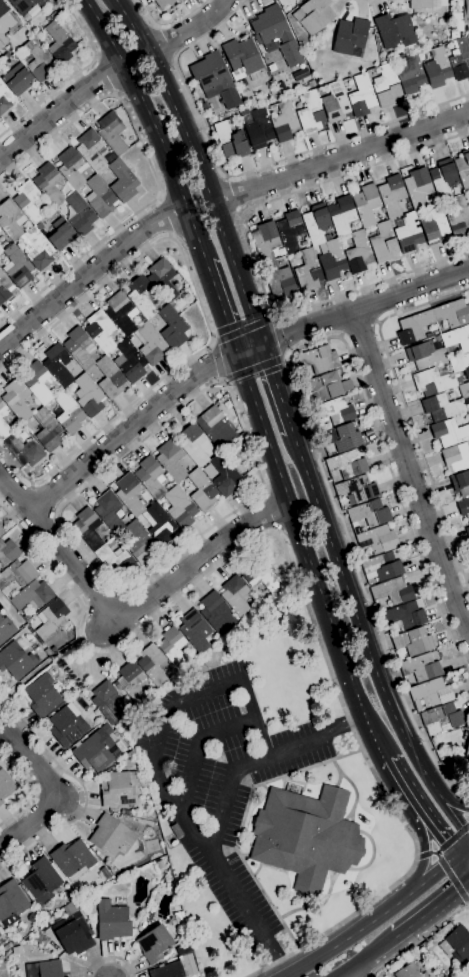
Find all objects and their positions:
road: (363, 2)
building: (164, 3)
building: (424, 4)
building: (25, 5)
building: (34, 11)
building: (313, 16)
building: (465, 16)
building: (5, 22)
road: (169, 26)
building: (271, 27)
road: (192, 28)
building: (396, 33)
building: (454, 35)
building: (350, 38)
building: (59, 44)
building: (242, 59)
building: (460, 59)
building: (36, 60)
building: (437, 69)
road: (105, 75)
building: (410, 75)
road: (73, 77)
building: (17, 80)
building: (214, 80)
building: (386, 86)
building: (361, 97)
building: (4, 99)
building: (335, 103)
road: (60, 110)
building: (244, 111)
building: (310, 114)
building: (284, 122)
road: (150, 127)
building: (258, 130)
building: (112, 134)
building: (134, 139)
building: (230, 140)
building: (91, 150)
building: (110, 158)
road: (342, 158)
road: (200, 166)
building: (71, 168)
building: (463, 170)
road: (153, 171)
road: (244, 174)
building: (443, 179)
building: (122, 181)
building: (48, 184)
building: (418, 187)
road: (233, 196)
building: (391, 196)
building: (99, 198)
building: (28, 202)
building: (366, 204)
building: (80, 215)
building: (341, 215)
road: (165, 217)
building: (459, 217)
building: (11, 220)
building: (316, 223)
building: (434, 225)
building: (39, 227)
building: (290, 231)
building: (408, 233)
building: (60, 234)
building: (265, 241)
building: (383, 243)
road: (247, 248)
building: (37, 249)
building: (1, 250)
building: (358, 253)
building: (331, 260)
building: (17, 267)
building: (307, 270)
road: (89, 272)
building: (162, 279)
building: (279, 280)
building: (4, 289)
building: (141, 296)
road: (220, 306)
building: (121, 313)
building: (452, 314)
road: (203, 316)
building: (172, 327)
road: (358, 327)
building: (414, 327)
building: (99, 331)
road: (279, 335)
building: (457, 338)
building: (151, 345)
building: (78, 348)
building: (425, 355)
road: (230, 356)
building: (318, 360)
building: (129, 361)
road: (216, 362)
building: (58, 365)
building: (460, 365)
road: (288, 377)
building: (109, 378)
building: (458, 380)
building: (36, 382)
building: (432, 382)
building: (324, 387)
road: (277, 389)
building: (464, 390)
building: (88, 396)
building: (16, 400)
building: (442, 407)
building: (2, 410)
road: (406, 410)
building: (67, 413)
building: (468, 413)
building: (332, 414)
building: (215, 427)
building: (3, 430)
building: (47, 431)
building: (448, 433)
building: (341, 438)
building: (195, 445)
building: (23, 451)
building: (456, 457)
building: (171, 460)
building: (347, 465)
road: (257, 466)
building: (209, 471)
road: (409, 472)
building: (224, 476)
building: (150, 477)
building: (460, 484)
building: (357, 489)
building: (201, 490)
building: (129, 494)
road: (45, 498)
building: (180, 507)
building: (464, 508)
building: (109, 512)
building: (370, 514)
road: (270, 515)
building: (159, 525)
building: (87, 529)
building: (1, 532)
building: (467, 532)
building: (377, 540)
building: (139, 543)
road: (60, 549)
building: (8, 552)
road: (308, 557)
building: (115, 559)
road: (193, 564)
building: (381, 567)
building: (17, 574)
building: (260, 577)
building: (393, 591)
building: (32, 596)
building: (236, 596)
road: (306, 603)
building: (216, 613)
building: (405, 616)
building: (26, 617)
building: (51, 619)
building: (6, 629)
building: (195, 631)
road: (367, 642)
building: (412, 642)
building: (174, 648)
building: (48, 653)
building: (16, 660)
building: (152, 665)
road: (40, 667)
building: (421, 668)
building: (131, 682)
building: (431, 693)
building: (42, 695)
building: (106, 702)
road: (169, 712)
building: (441, 719)
building: (67, 726)
road: (198, 748)
building: (95, 750)
building: (466, 755)
road: (260, 760)
road: (397, 776)
building: (5, 786)
road: (83, 788)
road: (29, 789)
road: (57, 789)
building: (119, 789)
road: (444, 795)
building: (127, 813)
road: (430, 825)
building: (176, 831)
building: (110, 835)
building: (306, 837)
road: (454, 838)
road: (422, 841)
road: (437, 851)
road: (435, 853)
road: (462, 853)
road: (416, 855)
road: (424, 855)
building: (72, 858)
traffic signals: (456, 858)
road: (462, 860)
building: (159, 864)
building: (103, 873)
road: (434, 874)
road: (453, 880)
building: (41, 882)
building: (11, 900)
road: (429, 907)
road: (249, 913)
building: (47, 916)
building: (112, 921)
building: (73, 934)
building: (0, 935)
road: (352, 936)
road: (418, 939)
building: (14, 943)
building: (154, 944)
building: (457, 945)
building: (8, 946)
road: (367, 958)
road: (109, 959)
building: (44, 969)
building: (168, 971)
building: (409, 972)
building: (449, 974)
road: (286, 976)

